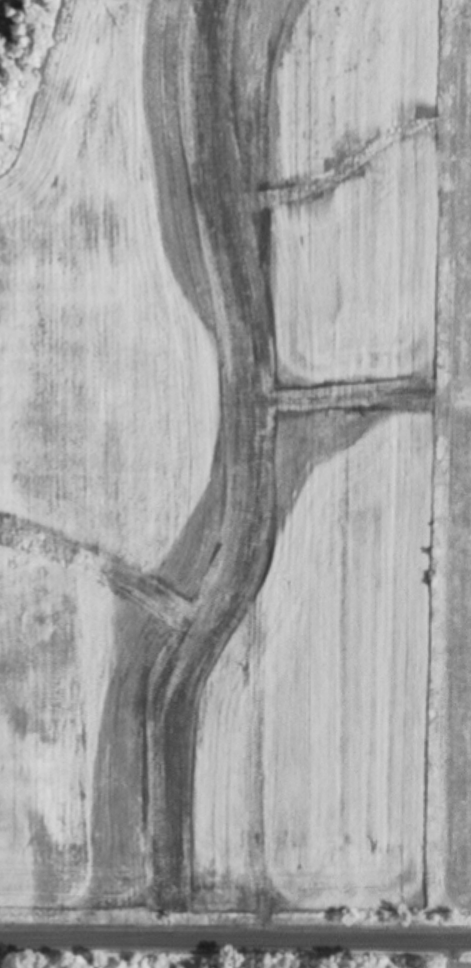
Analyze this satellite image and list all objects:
road: (235, 937)

